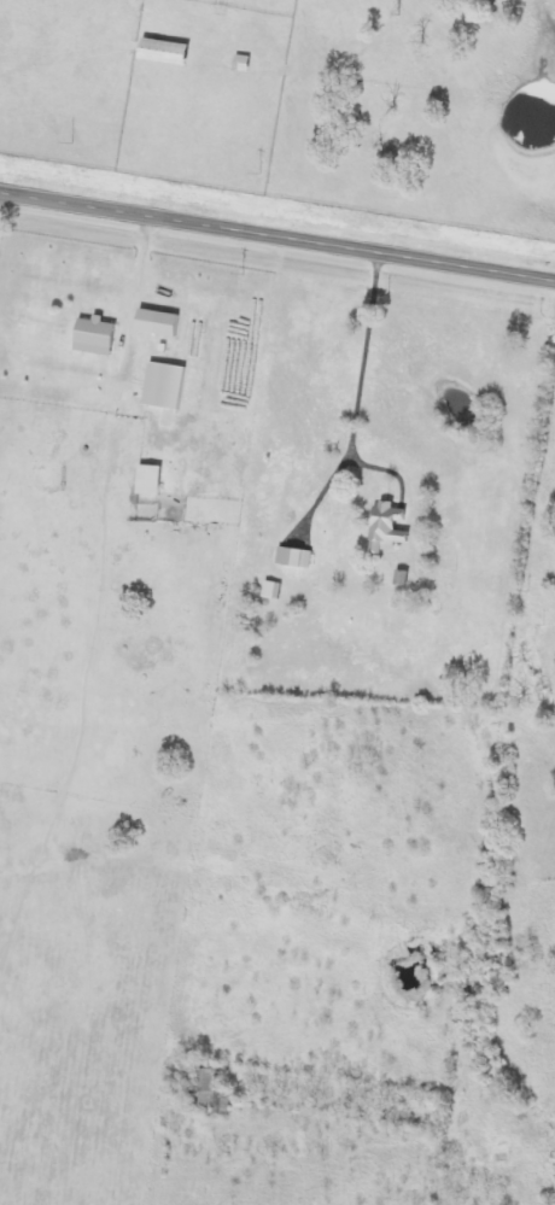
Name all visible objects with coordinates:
building: (166, 53)
road: (1, 217)
road: (276, 236)
building: (159, 322)
building: (97, 337)
building: (165, 386)
building: (150, 480)
building: (388, 527)
building: (294, 557)
building: (402, 578)
building: (273, 590)

